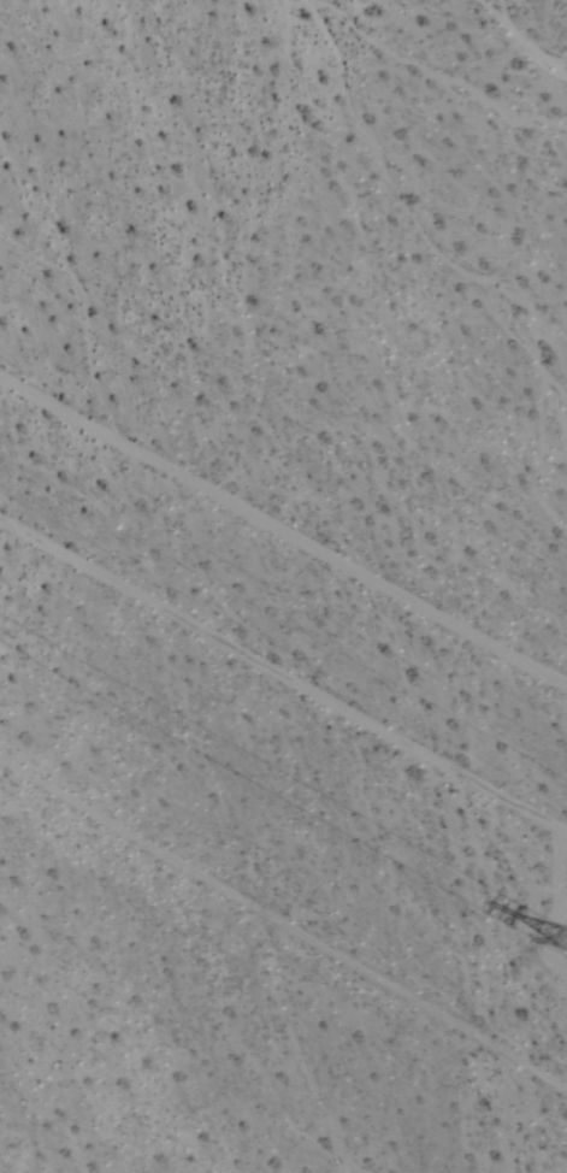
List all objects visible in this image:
road: (283, 676)

